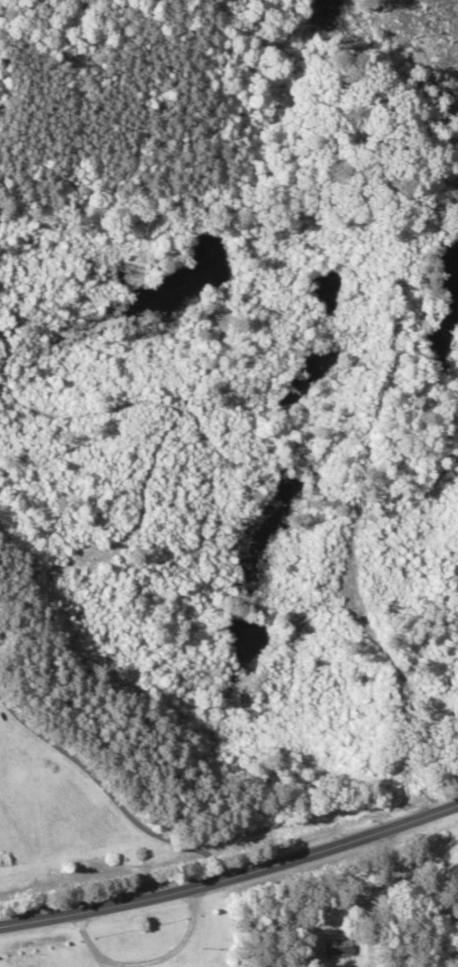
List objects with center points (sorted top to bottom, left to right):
building: (0, 641)
road: (230, 862)
building: (335, 947)

